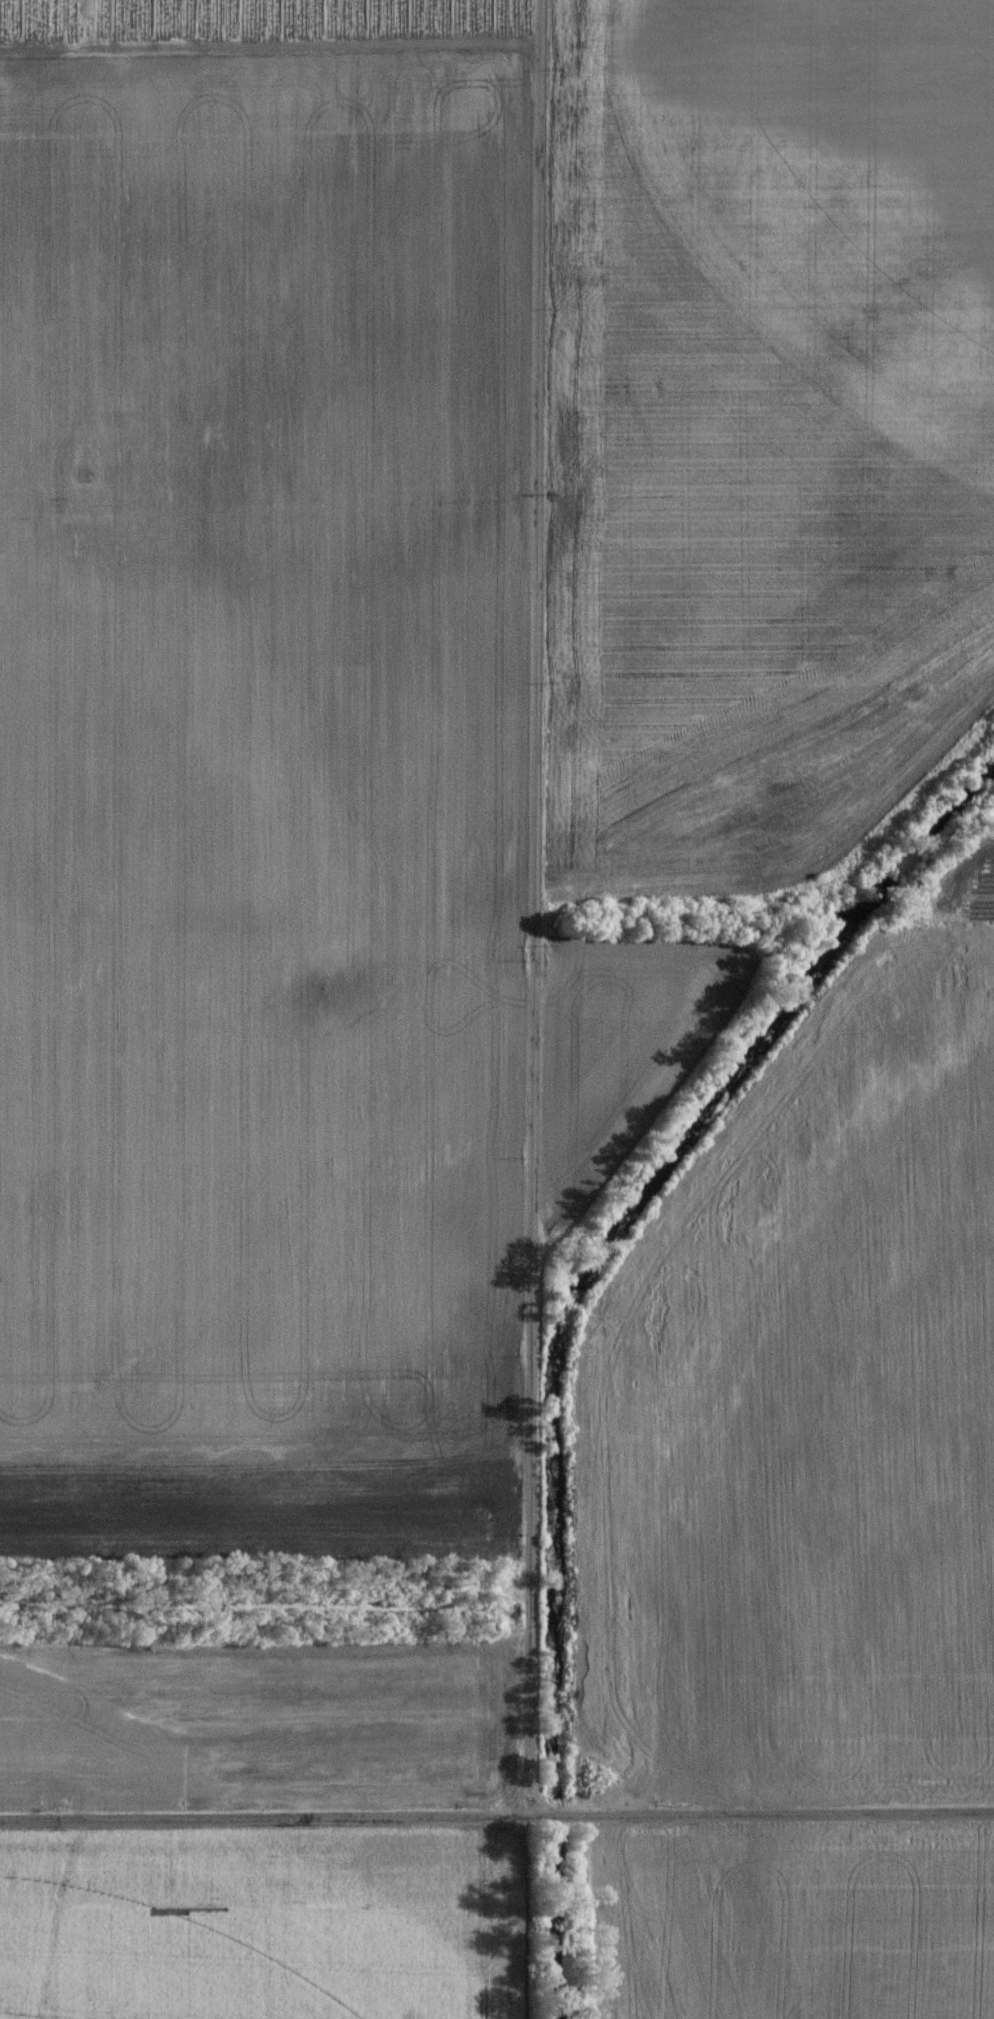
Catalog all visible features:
road: (565, 918)
road: (497, 1836)

